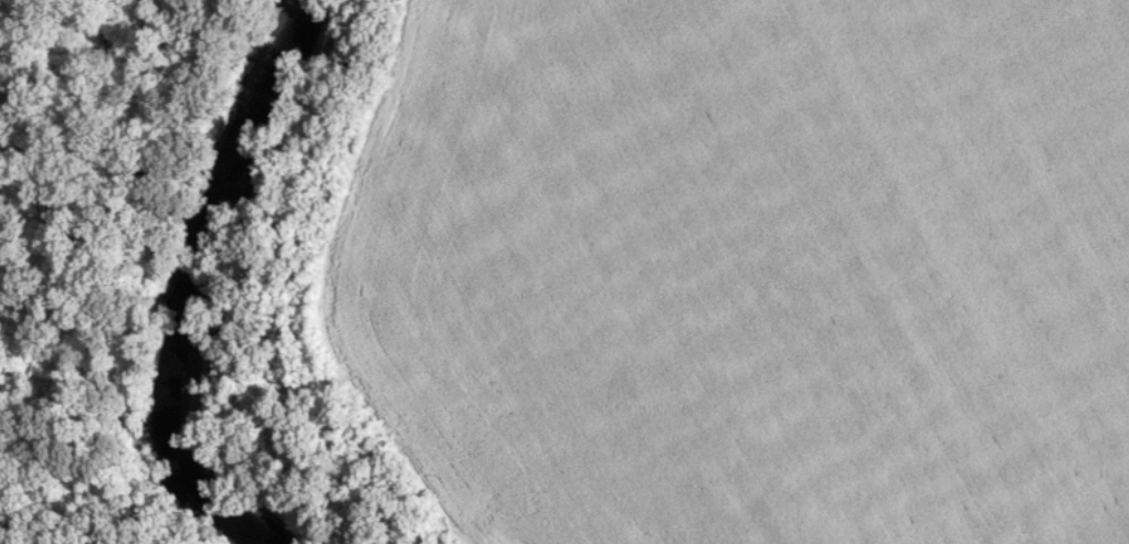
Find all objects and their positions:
river: (187, 276)

